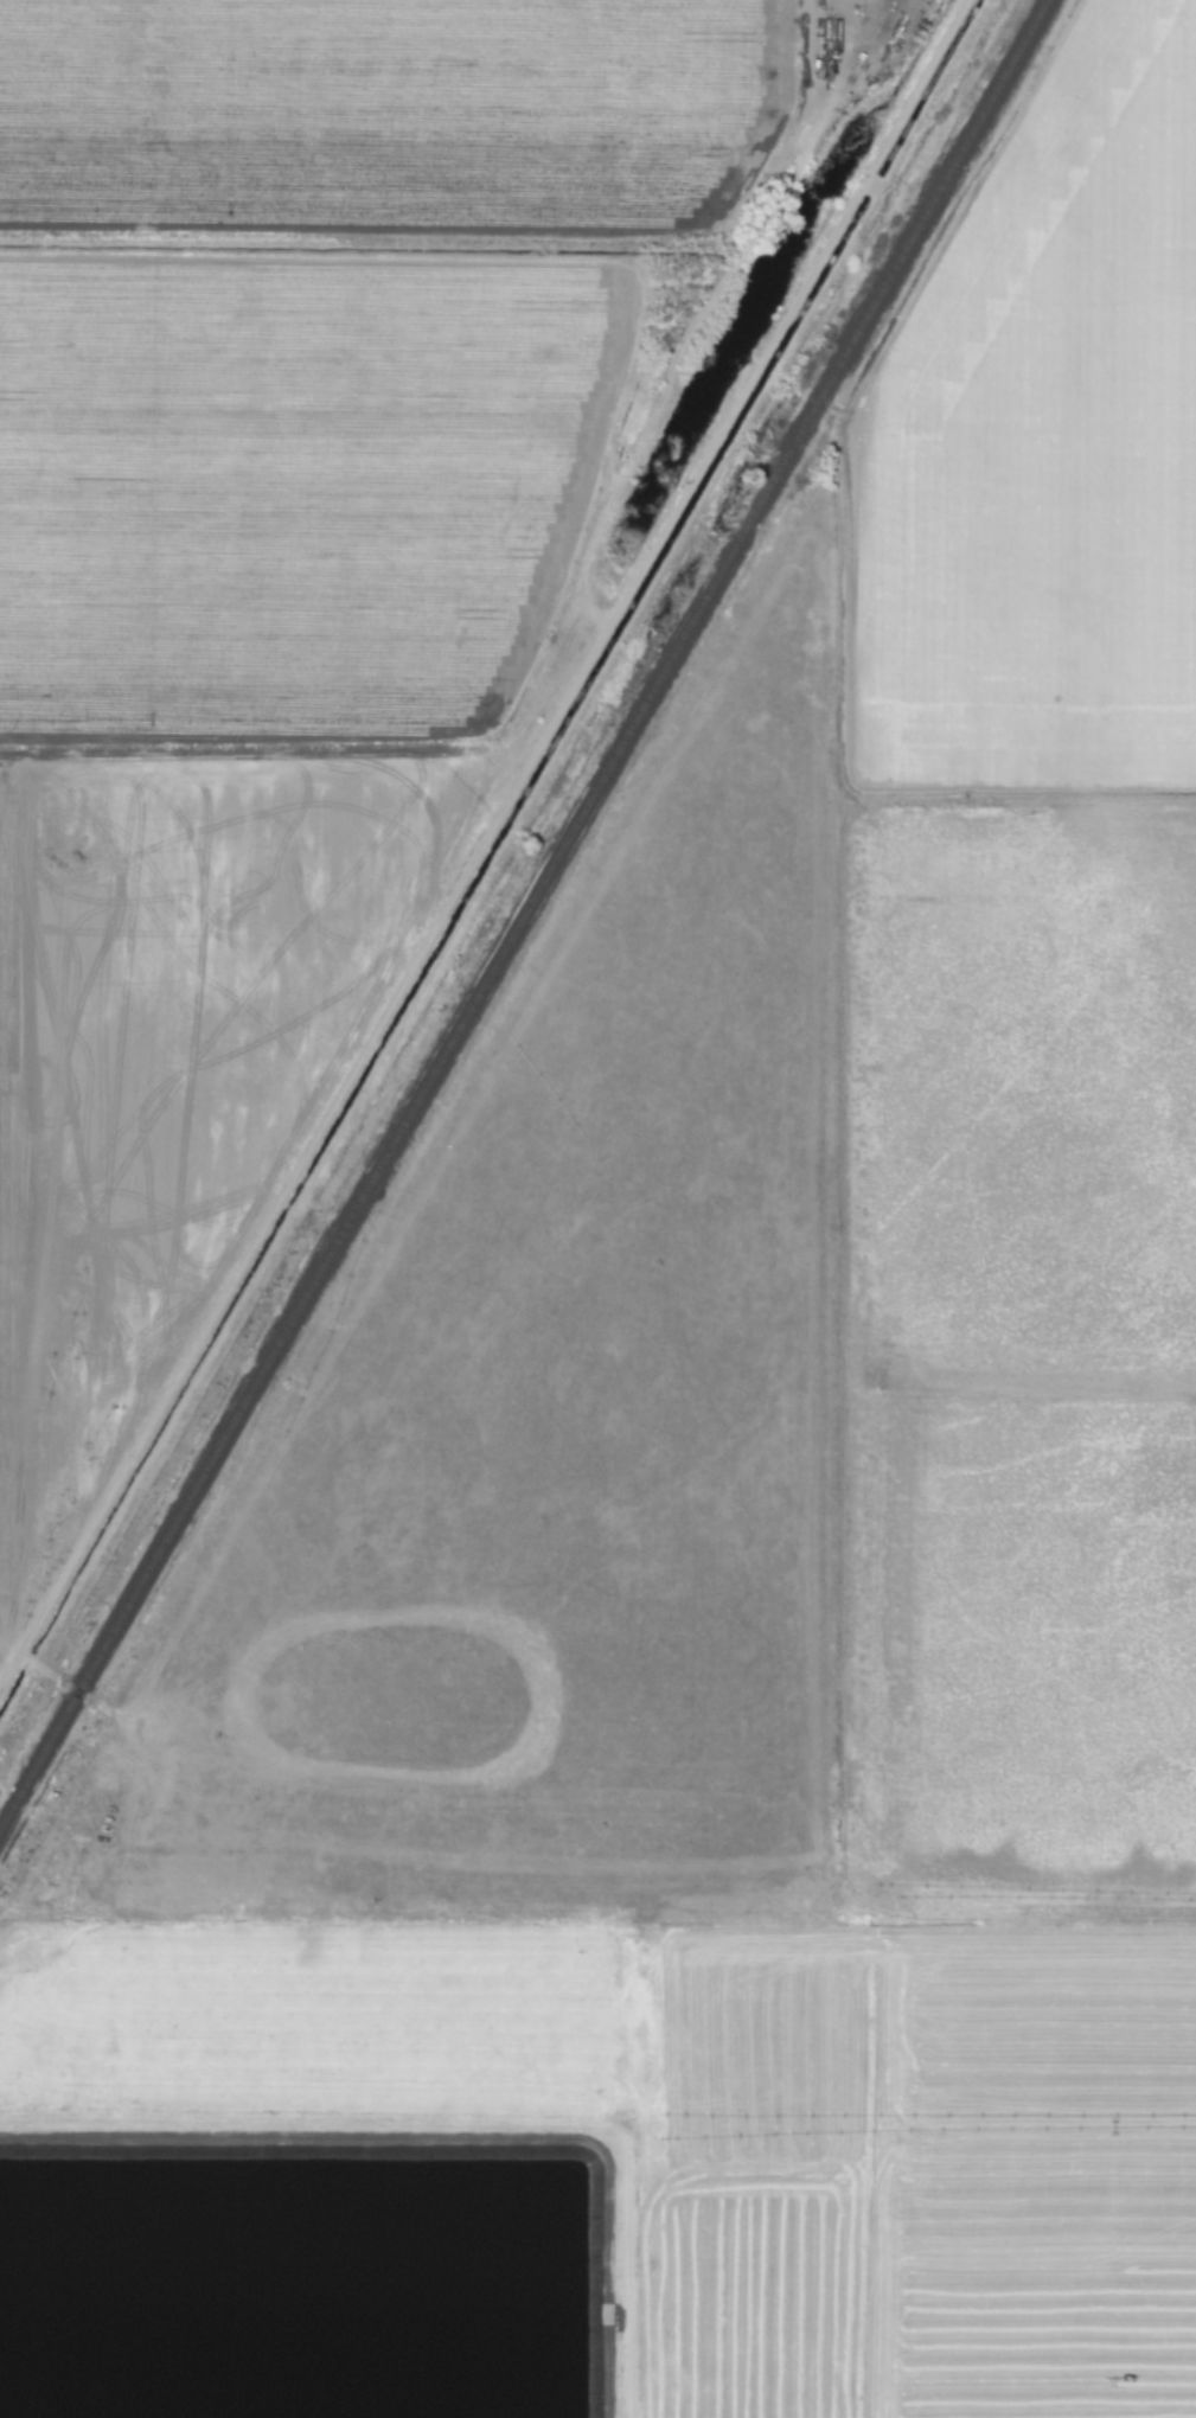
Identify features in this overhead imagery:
building: (200, 180)
building: (225, 516)
crop: (295, 558)
railway: (523, 910)
crop: (773, 1456)

